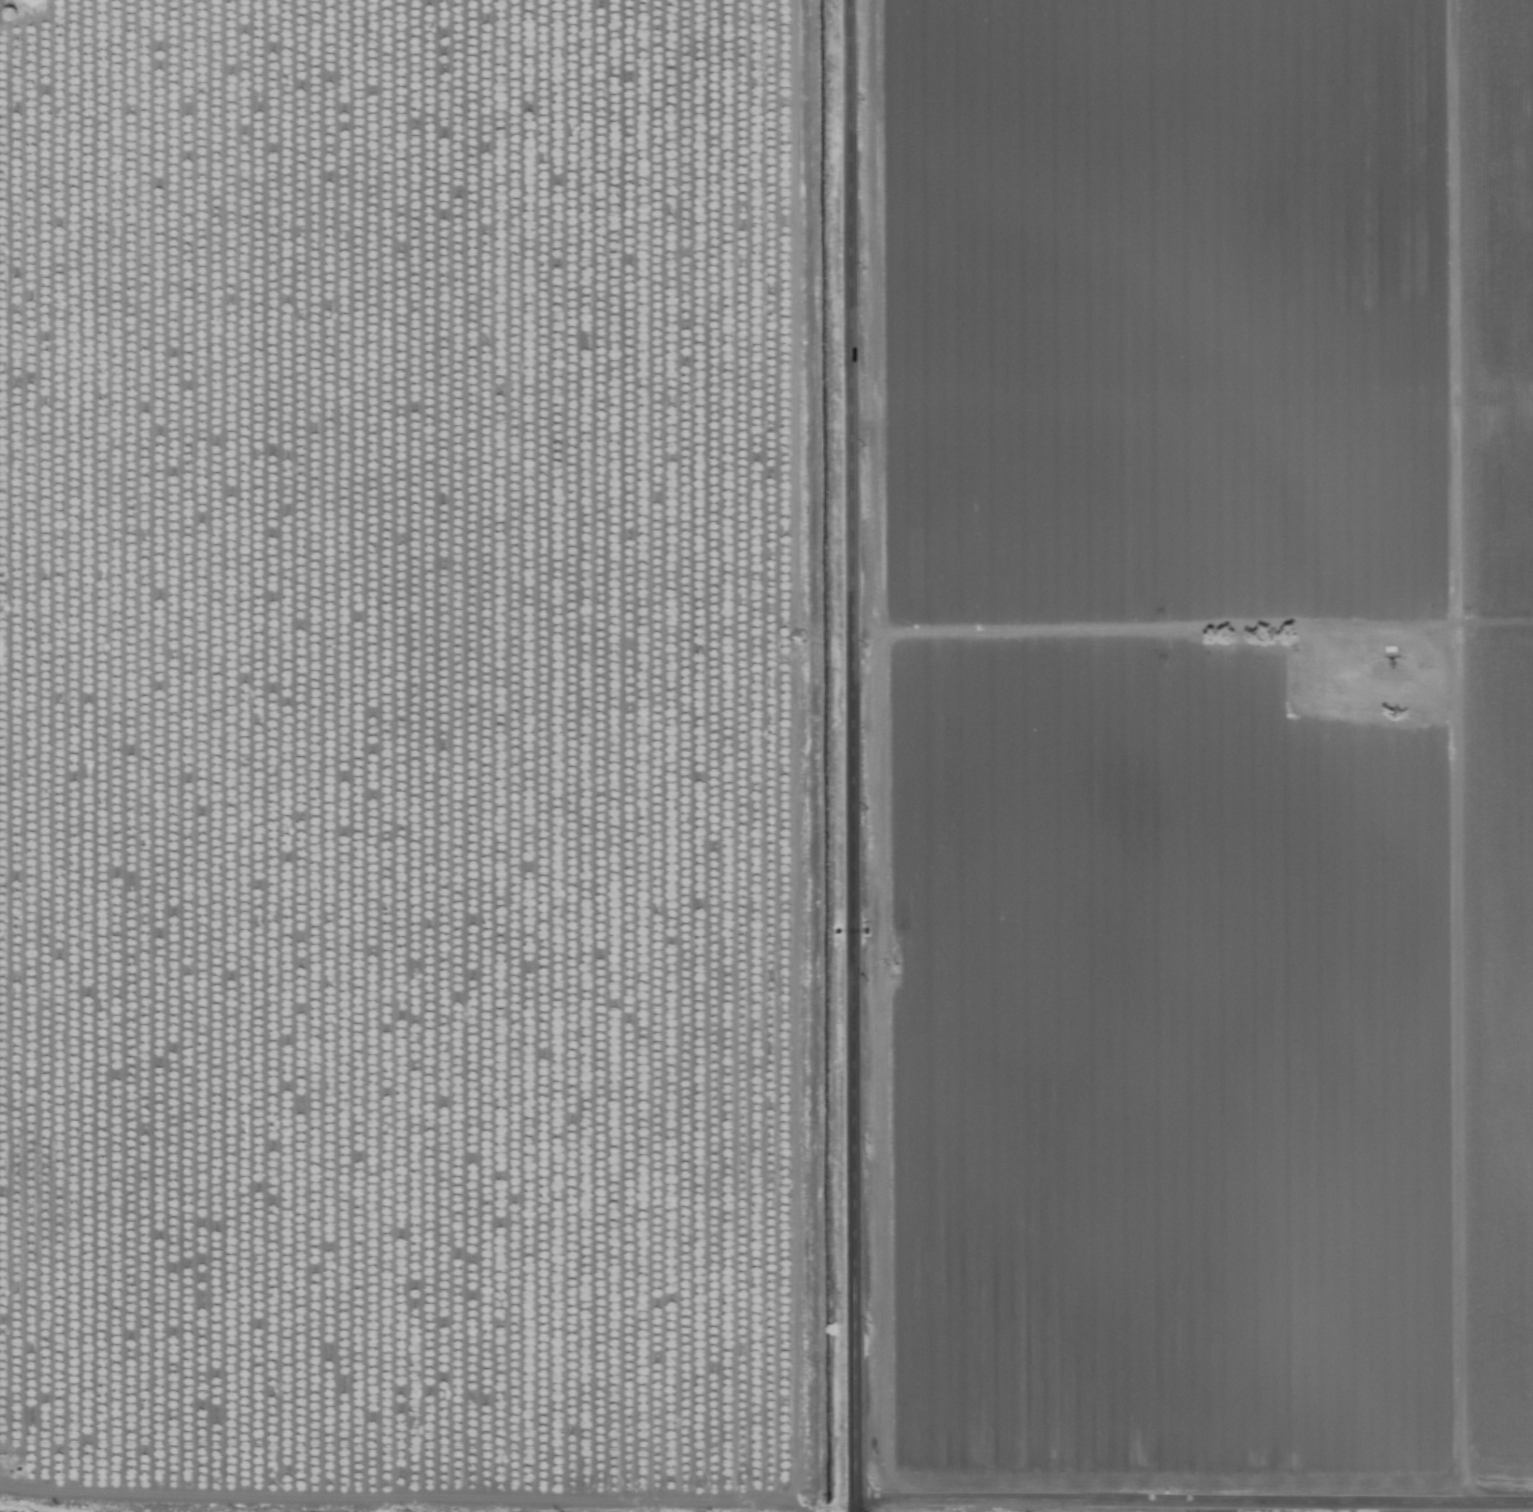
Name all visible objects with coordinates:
road: (851, 755)
road: (1461, 770)
road: (1193, 1498)

